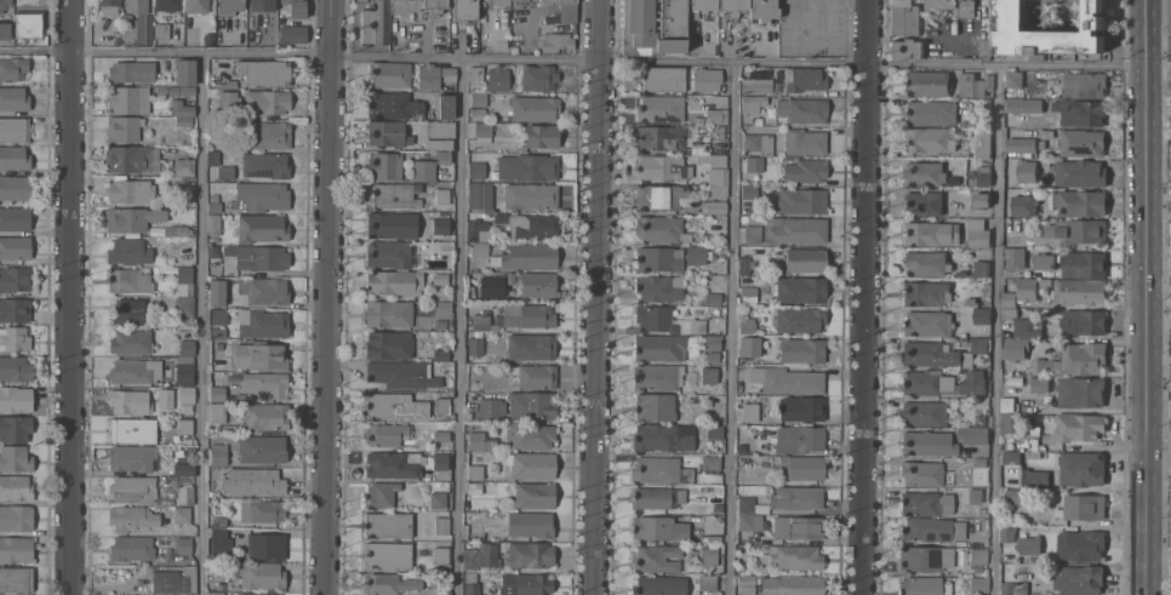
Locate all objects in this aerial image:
building: (359, 0)
building: (480, 0)
building: (497, 1)
building: (899, 1)
building: (925, 1)
building: (944, 4)
building: (5, 5)
building: (167, 5)
building: (262, 5)
building: (435, 5)
building: (109, 6)
building: (137, 6)
building: (196, 6)
building: (229, 6)
building: (390, 6)
building: (733, 6)
building: (405, 7)
building: (702, 7)
building: (296, 8)
building: (967, 8)
building: (464, 10)
building: (567, 10)
building: (762, 11)
building: (1019, 17)
building: (904, 18)
building: (29, 23)
building: (367, 24)
building: (116, 25)
building: (161, 25)
building: (653, 27)
building: (130, 29)
parking lot: (824, 29)
building: (5, 30)
road: (1146, 33)
building: (292, 34)
building: (950, 36)
building: (118, 38)
building: (207, 39)
building: (556, 42)
building: (907, 48)
road: (572, 57)
building: (12, 67)
building: (132, 70)
building: (185, 71)
building: (264, 71)
building: (761, 71)
building: (390, 73)
building: (475, 73)
building: (449, 74)
building: (429, 76)
building: (497, 78)
building: (539, 78)
building: (662, 78)
building: (804, 79)
building: (1013, 79)
building: (706, 80)
building: (927, 82)
building: (756, 85)
building: (975, 85)
building: (1085, 85)
building: (183, 92)
building: (13, 98)
building: (479, 98)
building: (130, 99)
building: (228, 102)
building: (267, 102)
building: (753, 103)
building: (393, 104)
building: (445, 105)
building: (1023, 105)
building: (181, 108)
building: (535, 108)
building: (661, 108)
building: (802, 109)
building: (478, 110)
building: (1081, 111)
building: (930, 113)
building: (716, 115)
building: (183, 120)
building: (759, 121)
building: (124, 127)
building: (702, 127)
building: (440, 128)
building: (15, 130)
building: (388, 132)
building: (482, 132)
building: (707, 133)
building: (1046, 133)
building: (269, 135)
building: (541, 136)
building: (661, 137)
building: (929, 139)
building: (805, 141)
building: (759, 143)
building: (982, 143)
building: (1083, 143)
building: (446, 144)
building: (1021, 144)
building: (13, 156)
building: (213, 158)
building: (444, 158)
building: (132, 159)
building: (713, 160)
building: (754, 162)
building: (1047, 162)
building: (265, 165)
building: (384, 165)
building: (183, 166)
building: (527, 166)
building: (663, 167)
building: (423, 170)
building: (476, 170)
building: (805, 170)
building: (225, 171)
building: (445, 171)
building: (1027, 171)
building: (925, 173)
building: (1080, 173)
building: (718, 176)
building: (982, 176)
building: (15, 187)
building: (130, 190)
building: (719, 190)
building: (749, 191)
building: (263, 195)
building: (394, 195)
building: (442, 195)
building: (480, 195)
building: (531, 195)
building: (215, 196)
building: (659, 196)
building: (801, 200)
building: (1086, 201)
building: (922, 202)
building: (979, 204)
building: (1024, 205)
building: (215, 206)
building: (713, 206)
building: (501, 217)
building: (15, 218)
building: (132, 218)
building: (215, 224)
building: (392, 224)
building: (438, 225)
building: (533, 225)
building: (262, 228)
building: (478, 229)
building: (661, 229)
building: (795, 229)
building: (156, 230)
building: (176, 230)
building: (1074, 231)
building: (753, 234)
building: (930, 234)
building: (979, 238)
building: (15, 247)
building: (480, 248)
building: (752, 248)
building: (765, 248)
building: (128, 251)
building: (213, 251)
building: (389, 253)
building: (695, 254)
building: (526, 256)
building: (259, 257)
building: (659, 258)
building: (1015, 258)
building: (805, 259)
building: (1044, 261)
building: (441, 263)
building: (925, 263)
building: (1084, 264)
building: (744, 265)
building: (982, 269)
building: (440, 278)
building: (15, 279)
building: (128, 280)
building: (184, 281)
building: (394, 282)
building: (1045, 282)
building: (537, 284)
building: (492, 286)
building: (658, 287)
building: (800, 288)
building: (264, 290)
building: (1026, 290)
building: (1080, 291)
building: (217, 292)
building: (925, 293)
building: (748, 294)
road: (72, 297)
road: (330, 297)
road: (599, 297)
building: (713, 297)
road: (864, 297)
building: (1010, 299)
building: (971, 302)
building: (184, 305)
building: (15, 309)
building: (128, 309)
building: (389, 313)
building: (1009, 313)
building: (218, 315)
building: (526, 315)
building: (982, 315)
building: (441, 316)
building: (799, 319)
building: (664, 320)
building: (1084, 321)
building: (482, 322)
building: (927, 322)
road: (201, 324)
building: (264, 324)
road: (459, 325)
building: (747, 325)
road: (730, 327)
building: (1027, 327)
road: (994, 328)
road: (1146, 330)
building: (218, 332)
building: (15, 338)
building: (131, 342)
building: (713, 342)
building: (389, 344)
building: (475, 345)
building: (187, 347)
building: (531, 347)
building: (659, 347)
building: (748, 347)
building: (1015, 349)
building: (801, 350)
building: (944, 353)
building: (440, 354)
building: (259, 355)
building: (713, 356)
building: (1081, 357)
building: (1039, 365)
building: (15, 367)
building: (133, 371)
building: (401, 374)
building: (709, 374)
building: (535, 376)
building: (184, 377)
building: (657, 377)
building: (788, 379)
building: (265, 383)
building: (942, 383)
building: (1039, 383)
building: (1080, 391)
building: (217, 393)
building: (187, 394)
building: (165, 397)
building: (15, 399)
building: (130, 401)
building: (395, 405)
building: (531, 405)
building: (1009, 405)
building: (442, 406)
building: (658, 406)
building: (490, 408)
building: (801, 408)
building: (750, 411)
building: (217, 412)
building: (921, 413)
building: (264, 416)
building: (981, 416)
building: (1010, 423)
building: (185, 425)
building: (1076, 427)
building: (15, 428)
building: (132, 429)
building: (714, 431)
building: (385, 434)
building: (441, 435)
building: (530, 435)
building: (972, 435)
building: (663, 436)
building: (801, 439)
building: (480, 441)
building: (927, 442)
building: (1011, 446)
building: (262, 448)
building: (218, 453)
building: (1032, 454)
road: (1158, 456)
building: (482, 457)
building: (15, 458)
building: (131, 458)
building: (474, 458)
building: (440, 460)
building: (710, 462)
building: (979, 463)
building: (393, 464)
building: (529, 465)
building: (804, 467)
building: (187, 468)
building: (1083, 468)
building: (661, 470)
building: (475, 471)
building: (921, 473)
building: (1021, 473)
building: (253, 481)
building: (16, 487)
building: (474, 487)
building: (133, 488)
building: (381, 493)
building: (185, 494)
building: (535, 494)
building: (975, 494)
building: (657, 497)
building: (796, 497)
building: (1013, 497)
building: (438, 499)
building: (746, 503)
building: (926, 503)
building: (1083, 507)
building: (718, 508)
building: (263, 510)
building: (982, 511)
building: (182, 515)
building: (16, 516)
building: (132, 517)
building: (219, 522)
building: (750, 522)
building: (388, 524)
building: (441, 525)
building: (531, 525)
building: (474, 526)
building: (798, 526)
building: (658, 527)
building: (932, 528)
building: (1007, 533)
building: (713, 538)
building: (219, 540)
building: (183, 544)
building: (1029, 544)
building: (1081, 544)
building: (267, 545)
building: (16, 548)
building: (132, 548)
building: (388, 554)
building: (530, 554)
building: (440, 555)
building: (481, 556)
building: (709, 556)
building: (796, 556)
building: (657, 557)
building: (925, 557)
building: (978, 559)
building: (256, 573)
building: (984, 574)
building: (16, 578)
building: (175, 579)
building: (746, 579)
building: (1079, 579)
building: (707, 582)
building: (388, 583)
building: (472, 583)
building: (529, 583)
building: (978, 584)
building: (658, 585)
building: (793, 585)
building: (924, 585)
building: (442, 588)
building: (1013, 589)
building: (215, 593)
building: (189, 594)
building: (259, 594)

